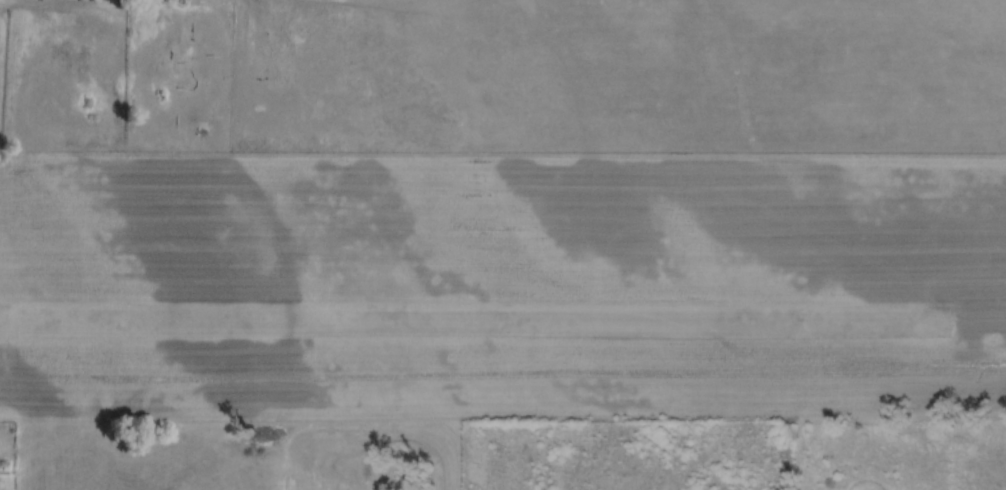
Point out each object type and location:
building: (129, 3)

